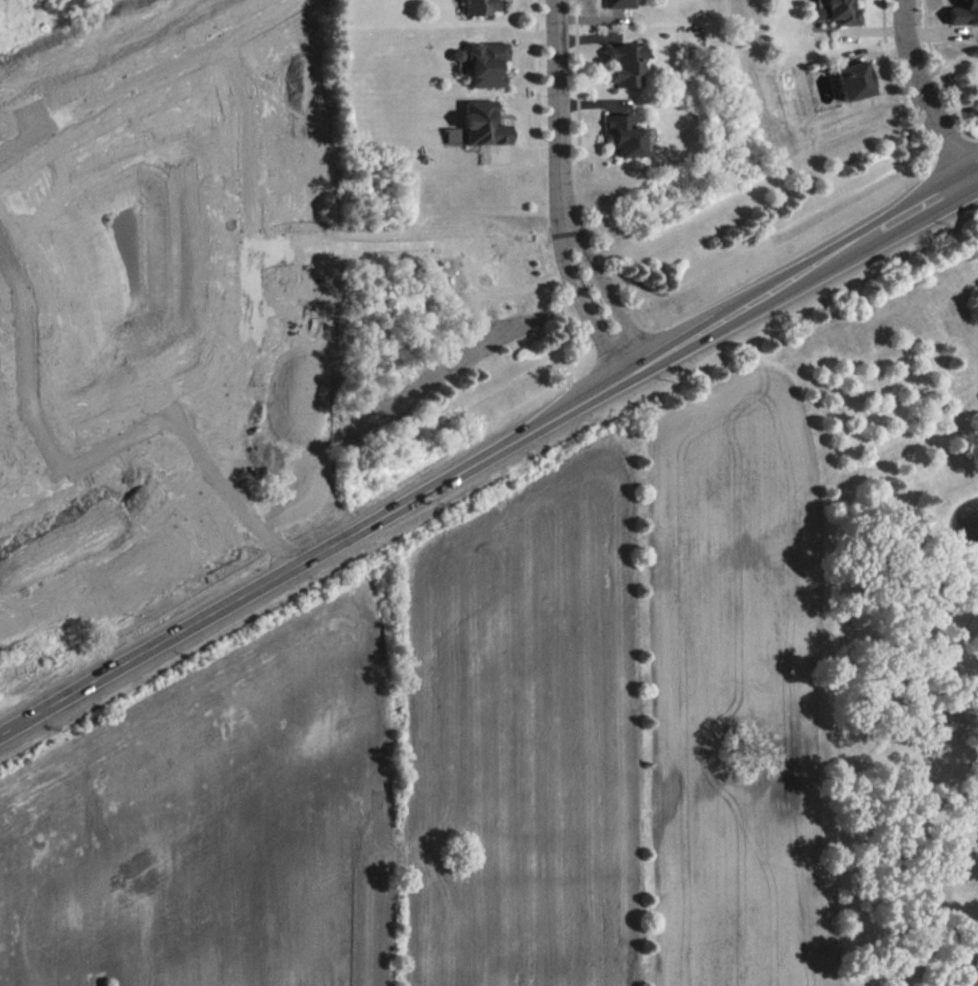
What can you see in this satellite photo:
building: (481, 3)
building: (619, 3)
building: (846, 7)
building: (963, 7)
road: (567, 10)
road: (606, 10)
road: (928, 17)
road: (897, 21)
road: (511, 23)
road: (952, 23)
road: (546, 24)
road: (917, 24)
road: (867, 26)
road: (863, 39)
road: (899, 42)
road: (890, 53)
building: (482, 54)
building: (625, 58)
building: (853, 71)
road: (538, 75)
road: (148, 77)
road: (582, 89)
road: (923, 91)
road: (569, 96)
road: (607, 96)
road: (556, 109)
building: (480, 115)
building: (629, 129)
road: (512, 145)
road: (548, 145)
road: (548, 153)
road: (974, 169)
road: (885, 221)
road: (419, 245)
road: (610, 282)
road: (586, 296)
road: (246, 344)
road: (20, 371)
road: (399, 496)
road: (187, 511)
crop: (730, 697)
crop: (525, 733)
crop: (208, 827)

